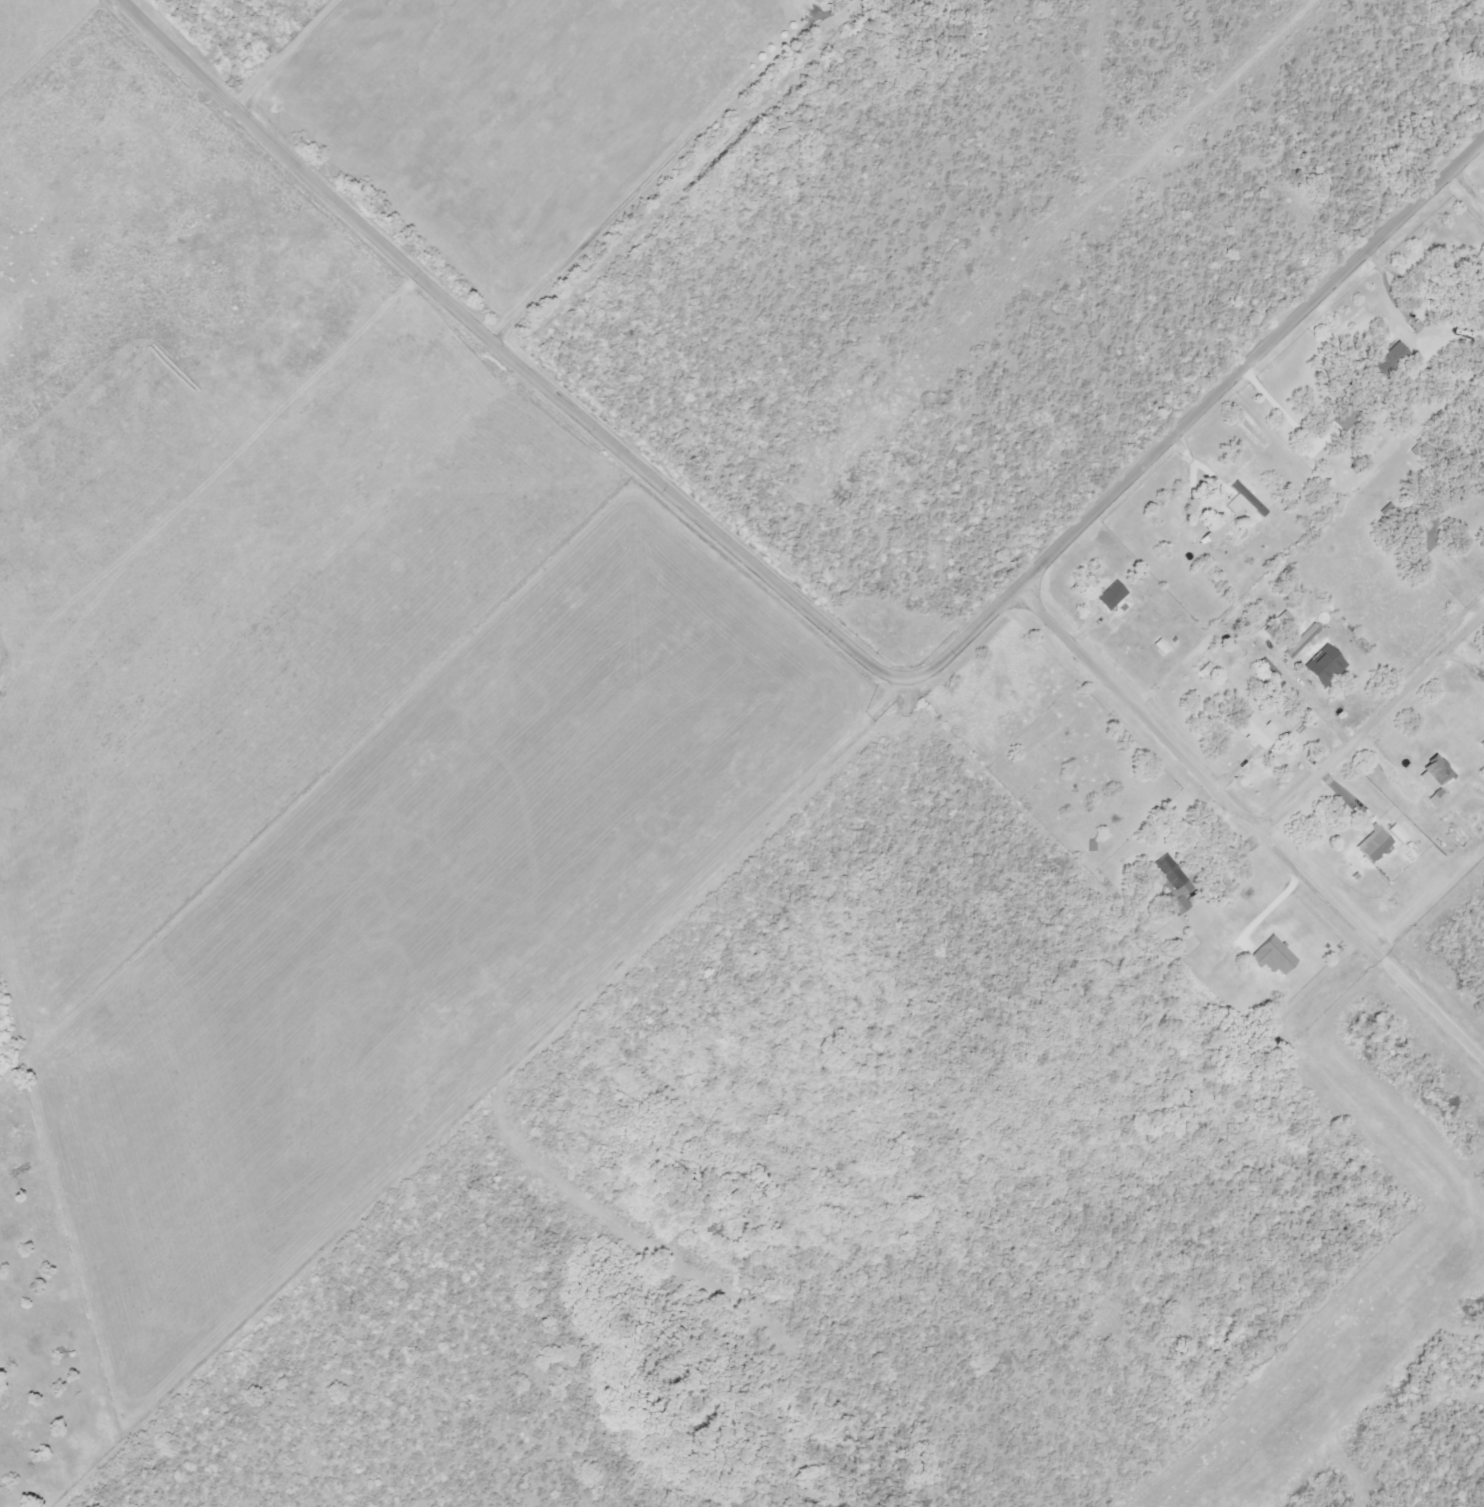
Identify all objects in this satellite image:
road: (290, 54)
building: (1388, 359)
building: (1346, 413)
building: (1357, 479)
building: (1214, 494)
building: (1424, 525)
building: (1111, 596)
road: (806, 609)
building: (1299, 640)
building: (1162, 647)
building: (1336, 660)
building: (1320, 678)
road: (1371, 721)
building: (1258, 731)
road: (1200, 772)
building: (1433, 774)
building: (1371, 843)
building: (1172, 881)
road: (1432, 1005)

